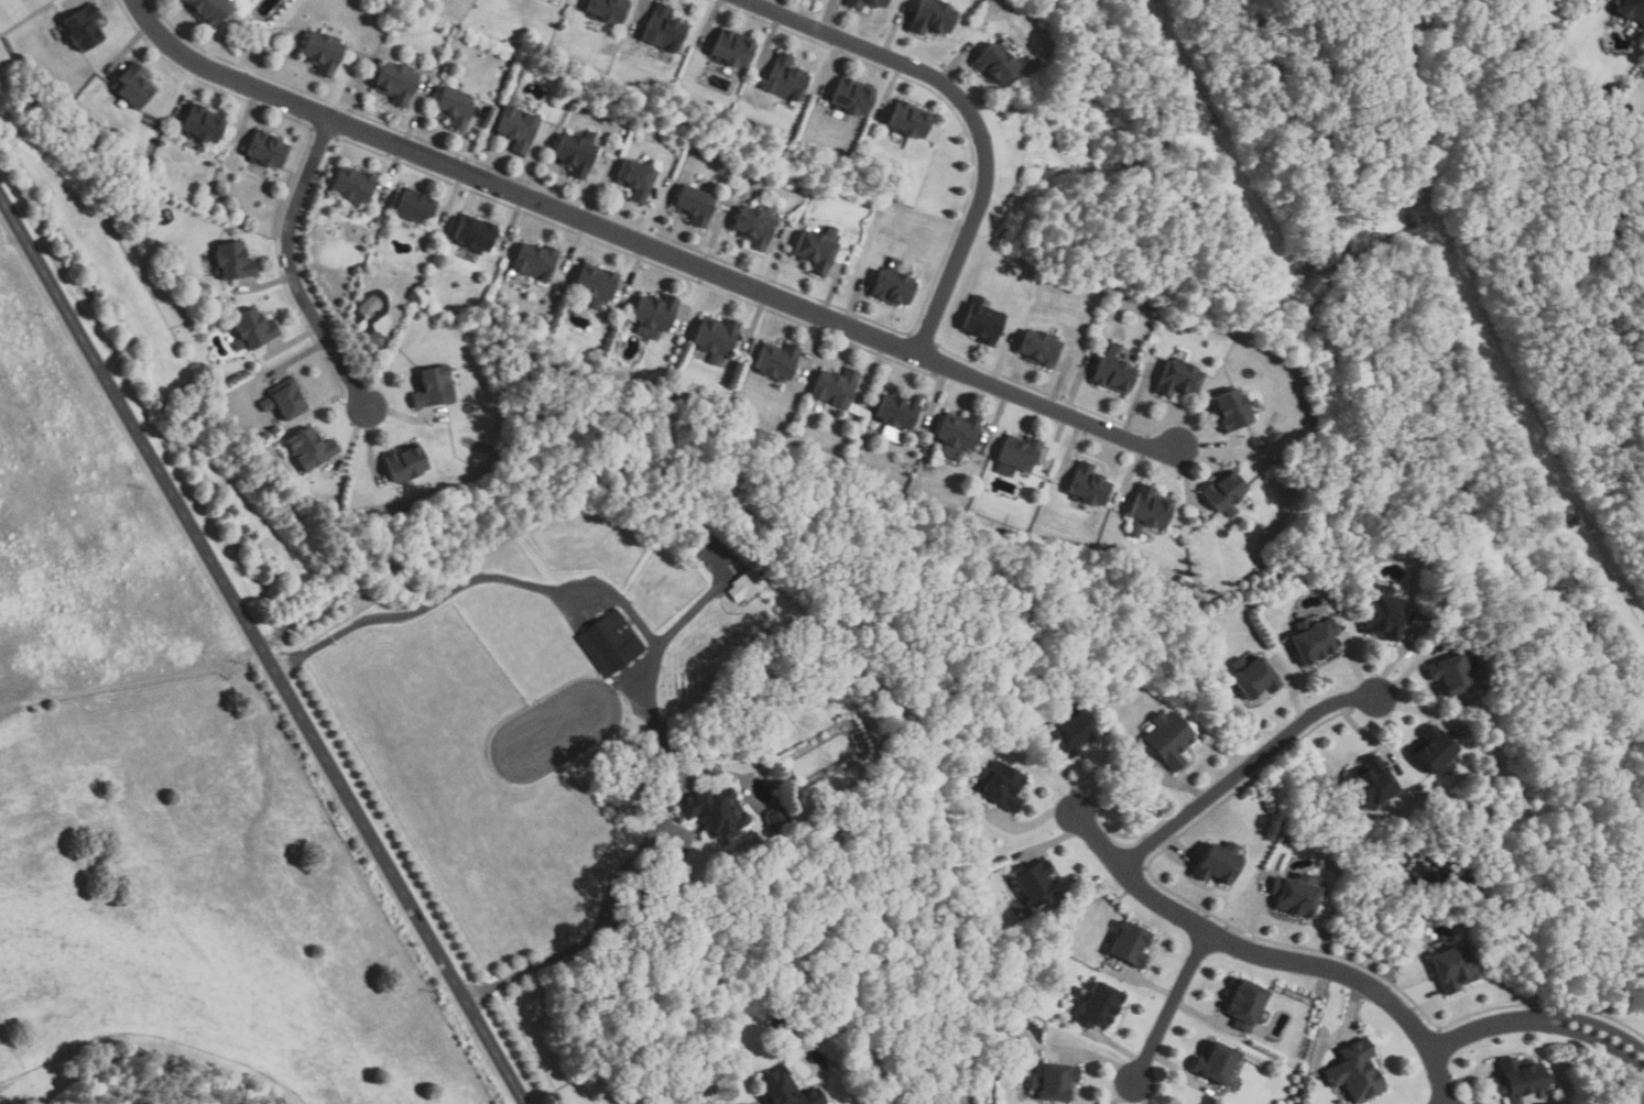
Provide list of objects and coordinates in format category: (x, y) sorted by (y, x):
building: (857, 6)
building: (609, 9)
building: (1633, 9)
building: (209, 10)
building: (935, 18)
building: (85, 26)
building: (665, 28)
building: (734, 48)
building: (322, 53)
building: (998, 63)
building: (787, 78)
building: (395, 84)
building: (133, 86)
building: (853, 97)
building: (453, 107)
road: (969, 112)
building: (912, 119)
building: (204, 123)
building: (516, 129)
building: (266, 149)
building: (576, 153)
building: (636, 178)
building: (353, 186)
building: (696, 206)
building: (415, 207)
building: (756, 227)
building: (475, 234)
road: (643, 244)
building: (818, 250)
building: (536, 260)
building: (235, 261)
road: (290, 269)
building: (598, 285)
building: (893, 287)
building: (656, 315)
building: (984, 321)
building: (253, 329)
building: (718, 338)
building: (1042, 348)
building: (779, 362)
building: (1114, 370)
building: (1179, 380)
building: (837, 386)
building: (434, 389)
building: (285, 400)
building: (900, 409)
building: (1233, 409)
building: (959, 435)
building: (312, 449)
building: (1021, 453)
building: (406, 464)
building: (1089, 484)
building: (1226, 492)
building: (1151, 507)
road: (469, 581)
building: (748, 586)
building: (1386, 616)
building: (1315, 641)
building: (610, 643)
road: (265, 648)
building: (1454, 675)
road: (640, 677)
building: (1256, 677)
building: (1077, 734)
building: (1171, 741)
building: (1437, 750)
road: (1243, 772)
building: (1374, 784)
building: (1004, 786)
building: (716, 812)
building: (779, 817)
building: (1219, 863)
road: (628, 865)
river: (1434, 865)
building: (1038, 885)
building: (1297, 895)
building: (943, 911)
building: (1133, 947)
road: (1271, 959)
building: (1455, 968)
building: (1076, 992)
building: (1102, 1004)
building: (1248, 1005)
road: (1169, 1009)
road: (1592, 1025)
building: (785, 1028)
road: (1480, 1030)
road: (1592, 1038)
building: (1218, 1064)
building: (1358, 1072)
building: (1521, 1081)
building: (1056, 1083)
building: (788, 1089)

